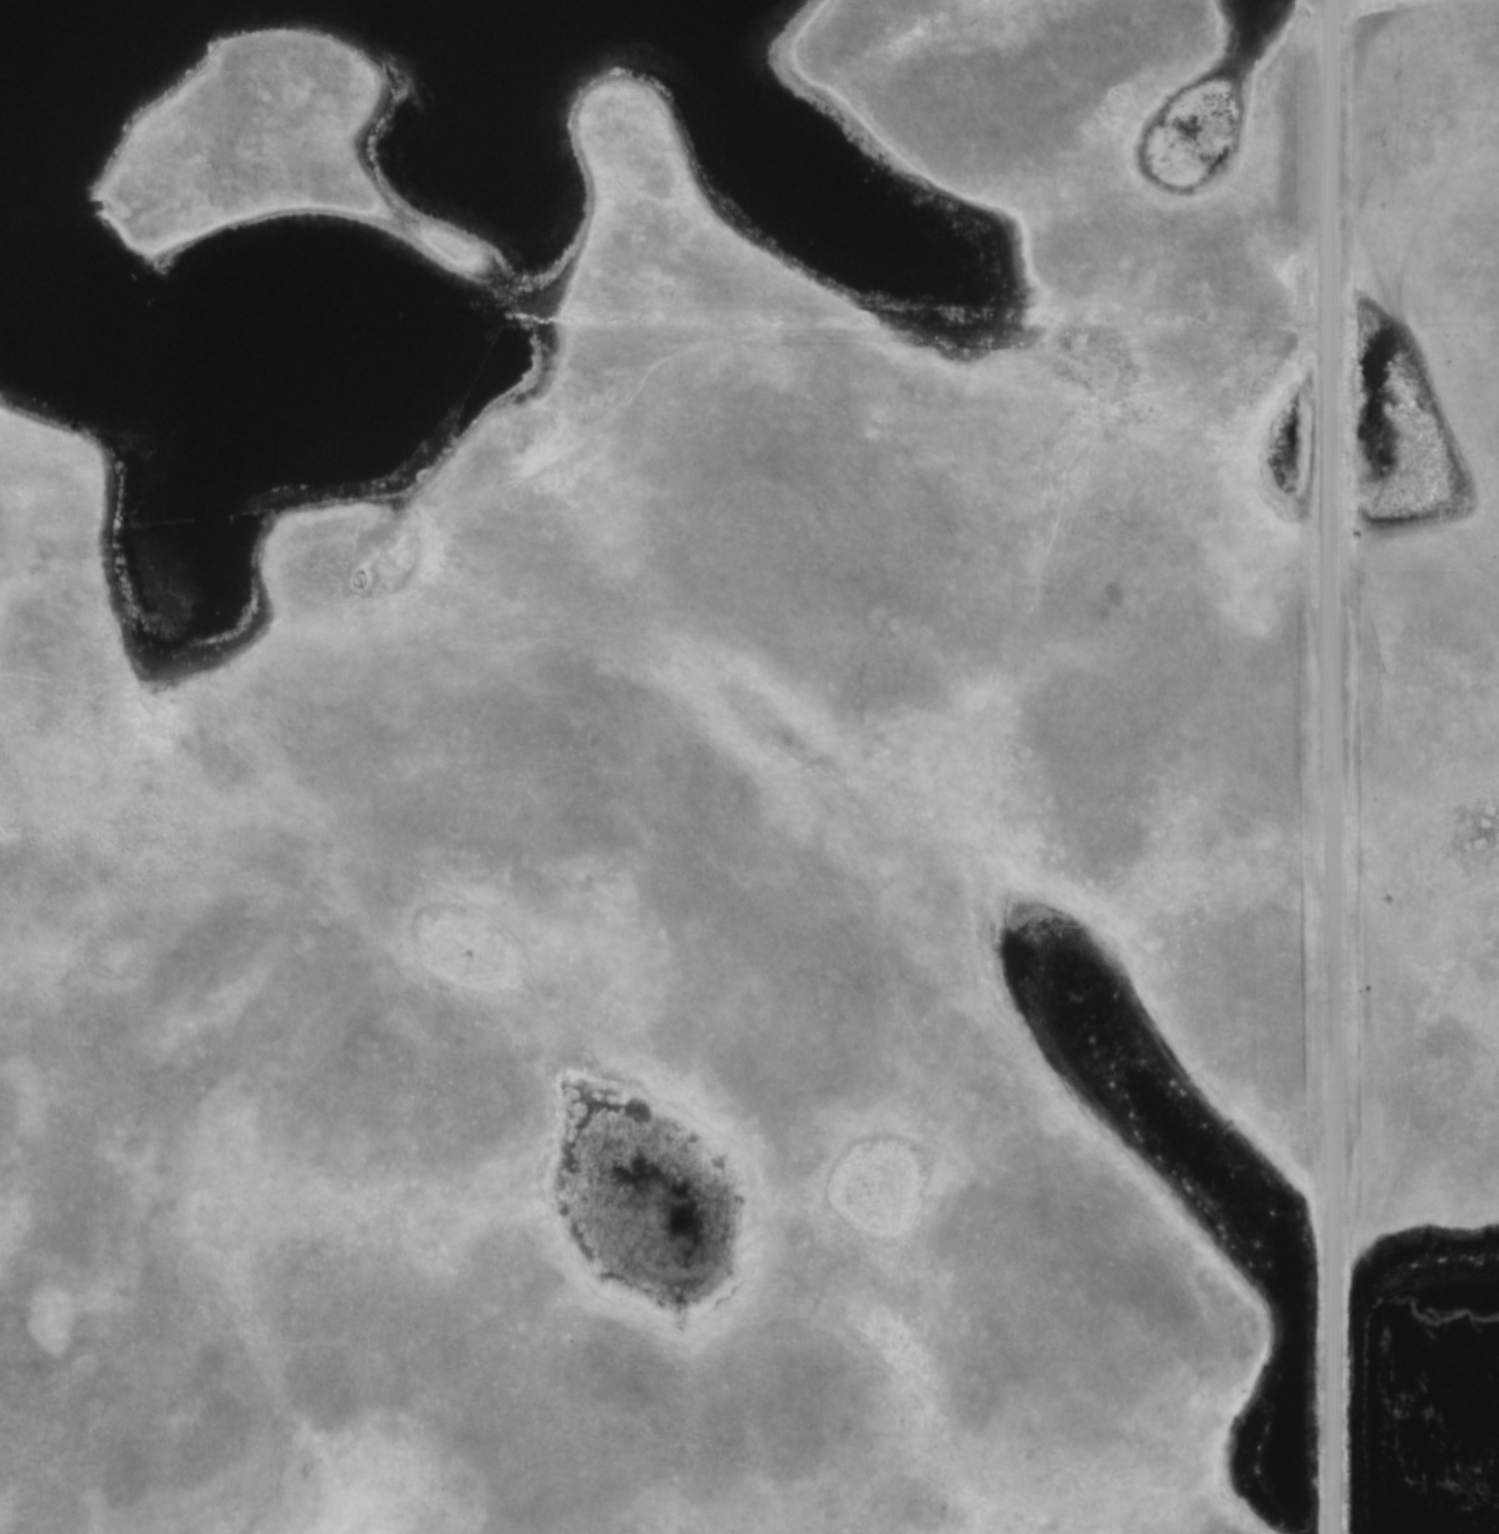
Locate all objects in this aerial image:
road: (1328, 766)

